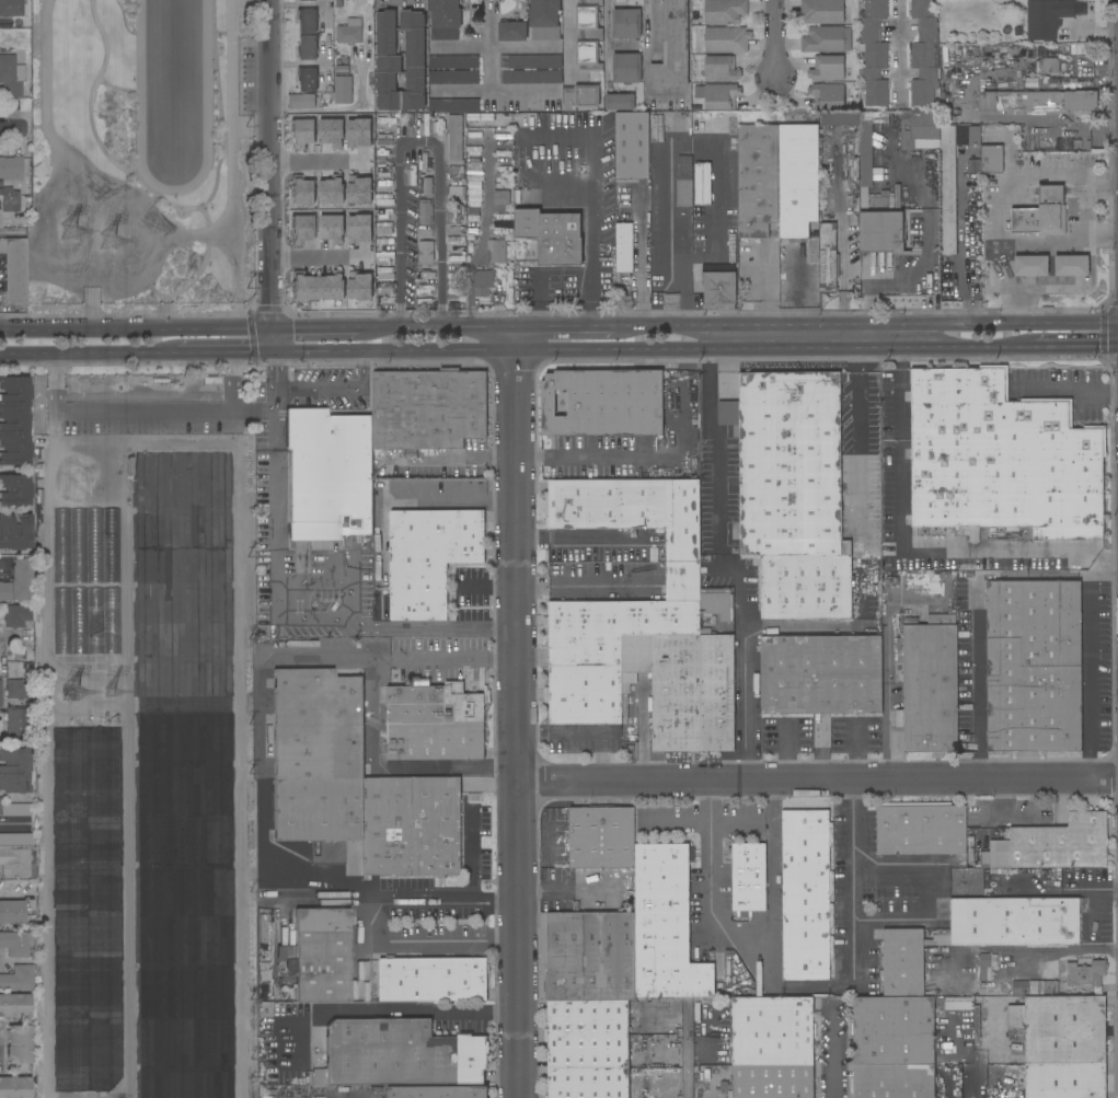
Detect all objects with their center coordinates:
building: (307, 0)
building: (11, 8)
building: (724, 11)
building: (820, 12)
building: (445, 19)
building: (544, 20)
building: (307, 21)
building: (1046, 21)
building: (626, 23)
building: (512, 31)
building: (349, 32)
building: (588, 35)
road: (776, 35)
road: (568, 36)
road: (608, 39)
building: (726, 39)
building: (822, 41)
road: (500, 45)
road: (489, 46)
building: (625, 47)
building: (672, 47)
building: (307, 48)
road: (901, 49)
building: (1006, 53)
building: (874, 54)
building: (923, 54)
building: (400, 61)
building: (530, 61)
building: (453, 62)
road: (645, 63)
building: (1050, 65)
building: (626, 68)
building: (827, 68)
building: (719, 69)
building: (11, 76)
building: (530, 77)
building: (453, 78)
building: (307, 79)
road: (117, 88)
building: (343, 90)
road: (497, 92)
building: (717, 96)
building: (827, 96)
building: (580, 97)
building: (301, 101)
building: (1037, 101)
building: (620, 102)
building: (453, 105)
road: (230, 116)
building: (838, 119)
building: (385, 122)
building: (679, 123)
road: (14, 130)
building: (920, 130)
road: (53, 136)
building: (973, 136)
building: (383, 139)
building: (453, 139)
road: (417, 143)
building: (867, 146)
building: (632, 147)
park: (141, 158)
building: (991, 159)
road: (315, 162)
building: (11, 167)
building: (382, 172)
building: (695, 174)
road: (269, 175)
building: (410, 175)
building: (757, 181)
building: (797, 181)
building: (425, 186)
track: (173, 189)
building: (947, 190)
building: (456, 193)
building: (683, 193)
building: (502, 197)
building: (8, 198)
building: (382, 199)
road: (169, 204)
road: (999, 211)
road: (589, 212)
building: (1041, 213)
building: (454, 217)
building: (879, 228)
building: (383, 229)
power tower: (73, 231)
building: (425, 233)
road: (482, 233)
road: (13, 234)
road: (188, 235)
building: (552, 235)
road: (965, 235)
building: (412, 243)
power tower: (117, 247)
building: (623, 247)
building: (497, 251)
building: (454, 254)
road: (641, 257)
building: (383, 258)
building: (827, 258)
road: (316, 259)
building: (1030, 265)
building: (1071, 265)
building: (14, 270)
road: (678, 271)
road: (563, 273)
road: (237, 274)
building: (383, 274)
road: (770, 280)
building: (483, 282)
road: (806, 287)
building: (384, 288)
building: (719, 290)
building: (384, 300)
road: (866, 323)
road: (437, 325)
road: (566, 325)
road: (136, 326)
traffic signals: (272, 326)
road: (315, 326)
road: (857, 335)
road: (900, 335)
road: (707, 336)
road: (1076, 346)
road: (946, 347)
road: (782, 348)
traffic signals: (272, 350)
road: (88, 351)
road: (224, 351)
road: (489, 351)
road: (272, 371)
road: (1064, 388)
road: (336, 391)
road: (857, 396)
road: (233, 401)
building: (603, 403)
building: (428, 409)
road: (115, 411)
building: (13, 420)
road: (591, 455)
building: (1001, 458)
road: (717, 464)
building: (327, 475)
road: (274, 486)
building: (14, 489)
building: (793, 492)
building: (631, 510)
building: (13, 532)
road: (583, 538)
building: (85, 545)
building: (169, 546)
road: (901, 551)
building: (429, 558)
building: (553, 560)
road: (1110, 565)
road: (1096, 571)
building: (749, 576)
building: (18, 582)
building: (718, 582)
road: (489, 589)
building: (15, 615)
building: (85, 621)
road: (976, 622)
road: (347, 623)
road: (431, 624)
building: (618, 642)
building: (736, 644)
building: (1034, 666)
building: (820, 674)
road: (1087, 678)
road: (745, 679)
building: (930, 685)
building: (19, 689)
building: (684, 690)
power tower: (115, 692)
building: (0, 693)
power tower: (79, 695)
road: (519, 710)
road: (372, 713)
building: (19, 724)
building: (434, 724)
building: (318, 725)
road: (585, 731)
building: (14, 771)
road: (818, 781)
building: (15, 809)
building: (377, 820)
road: (681, 821)
road: (15, 822)
building: (920, 829)
building: (601, 837)
building: (16, 840)
building: (1048, 845)
road: (473, 853)
building: (14, 862)
road: (263, 863)
building: (748, 877)
building: (626, 886)
road: (16, 889)
road: (930, 894)
road: (441, 895)
building: (806, 895)
building: (12, 913)
building: (1012, 922)
building: (666, 926)
road: (852, 940)
building: (15, 944)
road: (750, 946)
road: (1038, 951)
building: (319, 955)
building: (590, 956)
road: (7, 960)
building: (902, 962)
building: (986, 967)
building: (1086, 974)
building: (19, 978)
building: (433, 979)
building: (1035, 987)
building: (14, 1005)
road: (384, 1012)
building: (1060, 1029)
building: (895, 1030)
building: (772, 1031)
building: (1, 1032)
building: (18, 1043)
building: (587, 1049)
road: (839, 1051)
building: (399, 1054)
road: (687, 1068)
building: (894, 1080)
building: (1065, 1080)
building: (770, 1082)
building: (14, 1087)
building: (437, 1091)

